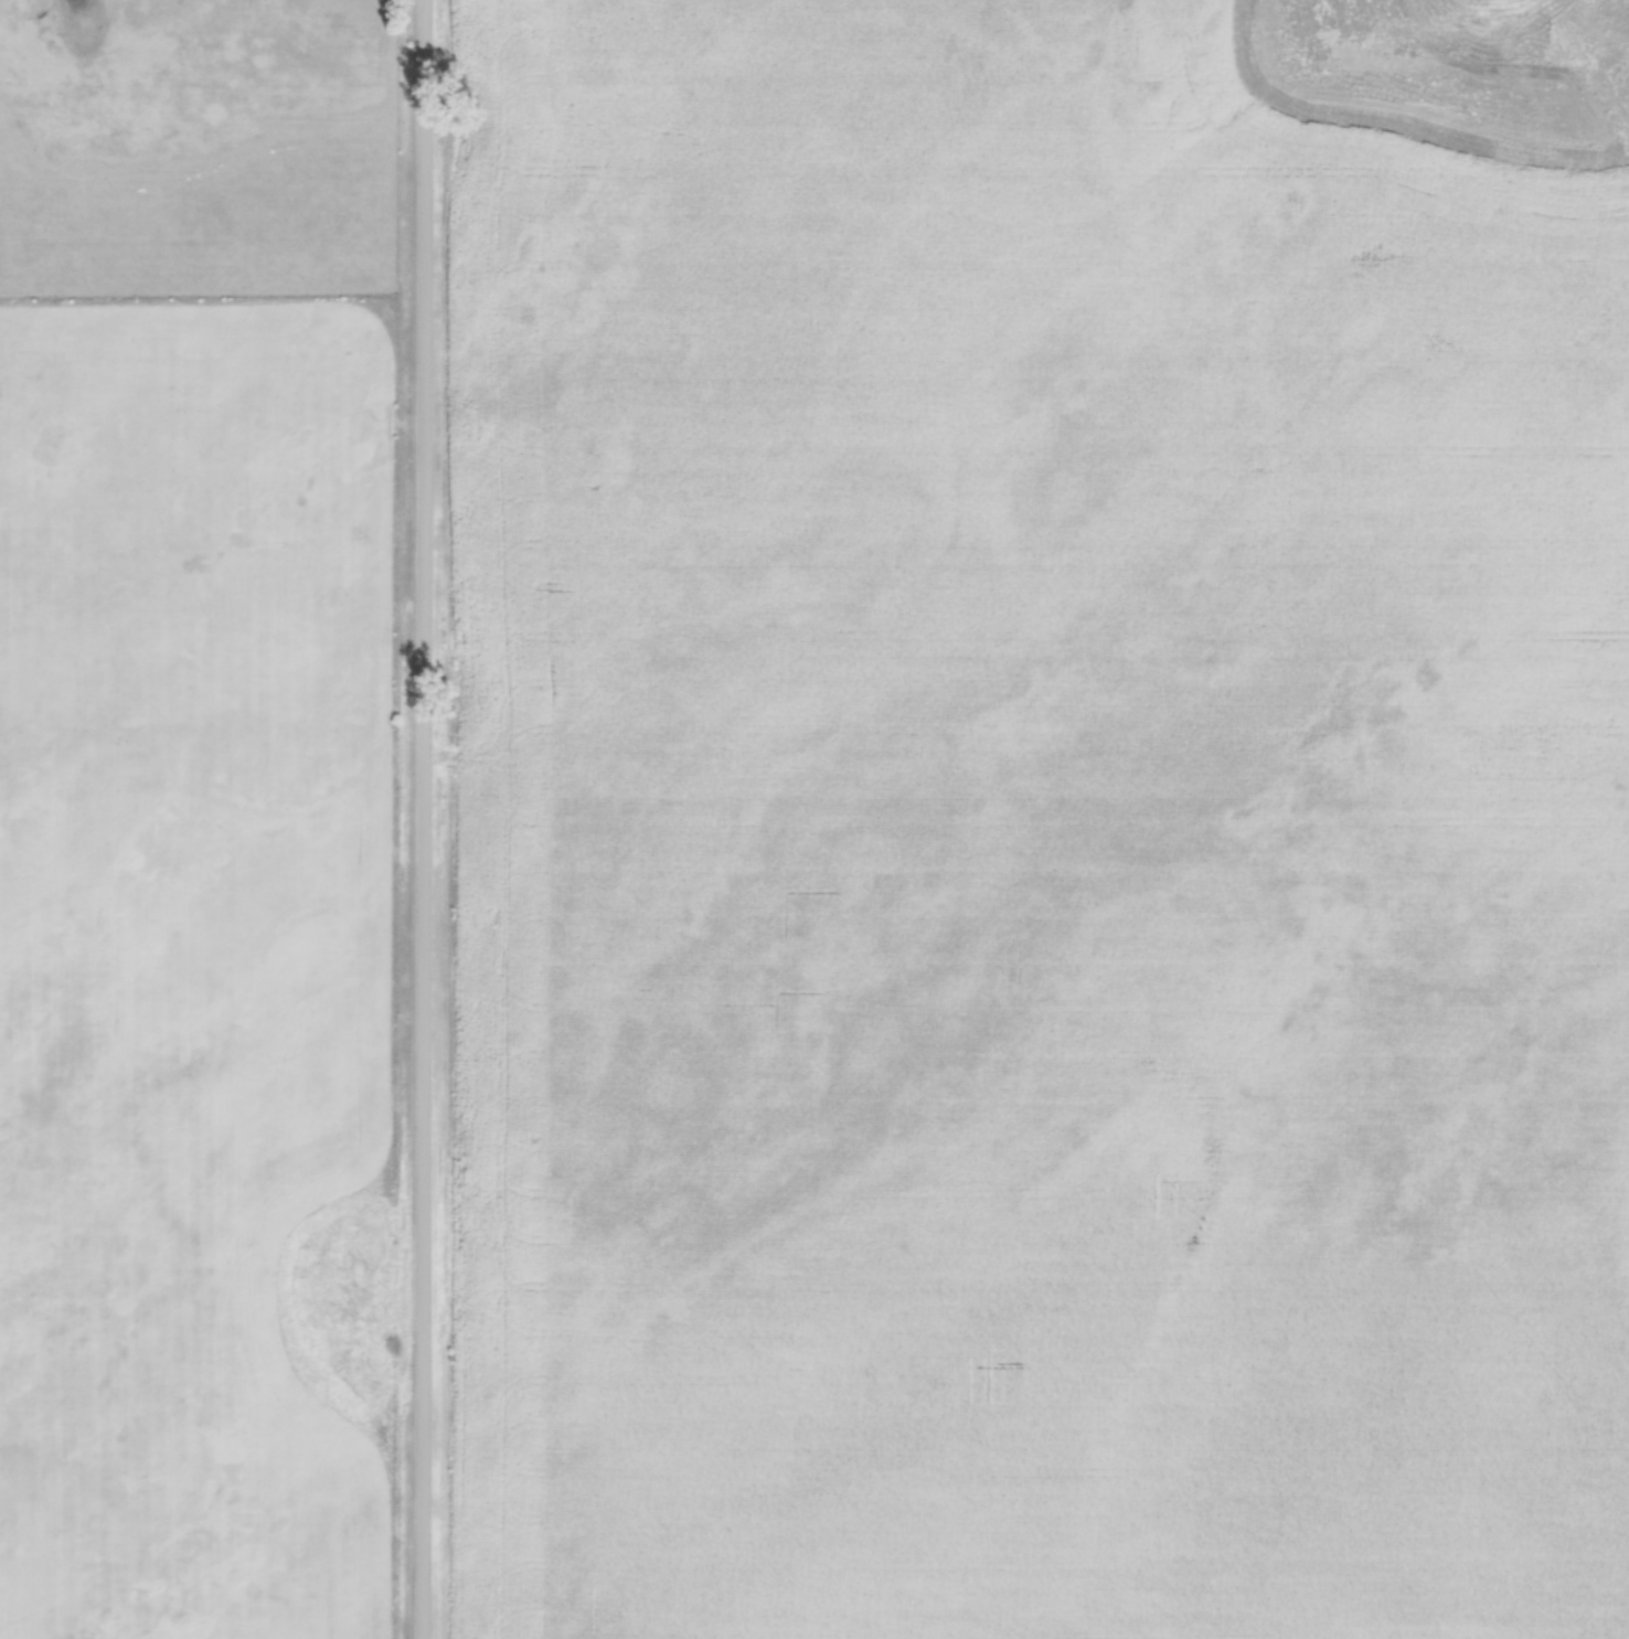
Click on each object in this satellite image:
road: (422, 819)

